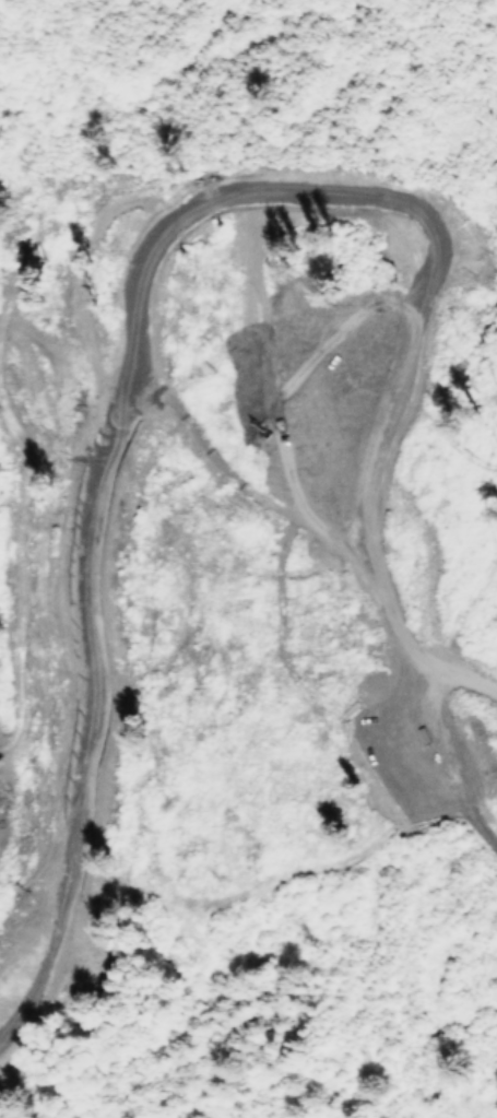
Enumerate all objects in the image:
road: (206, 192)

